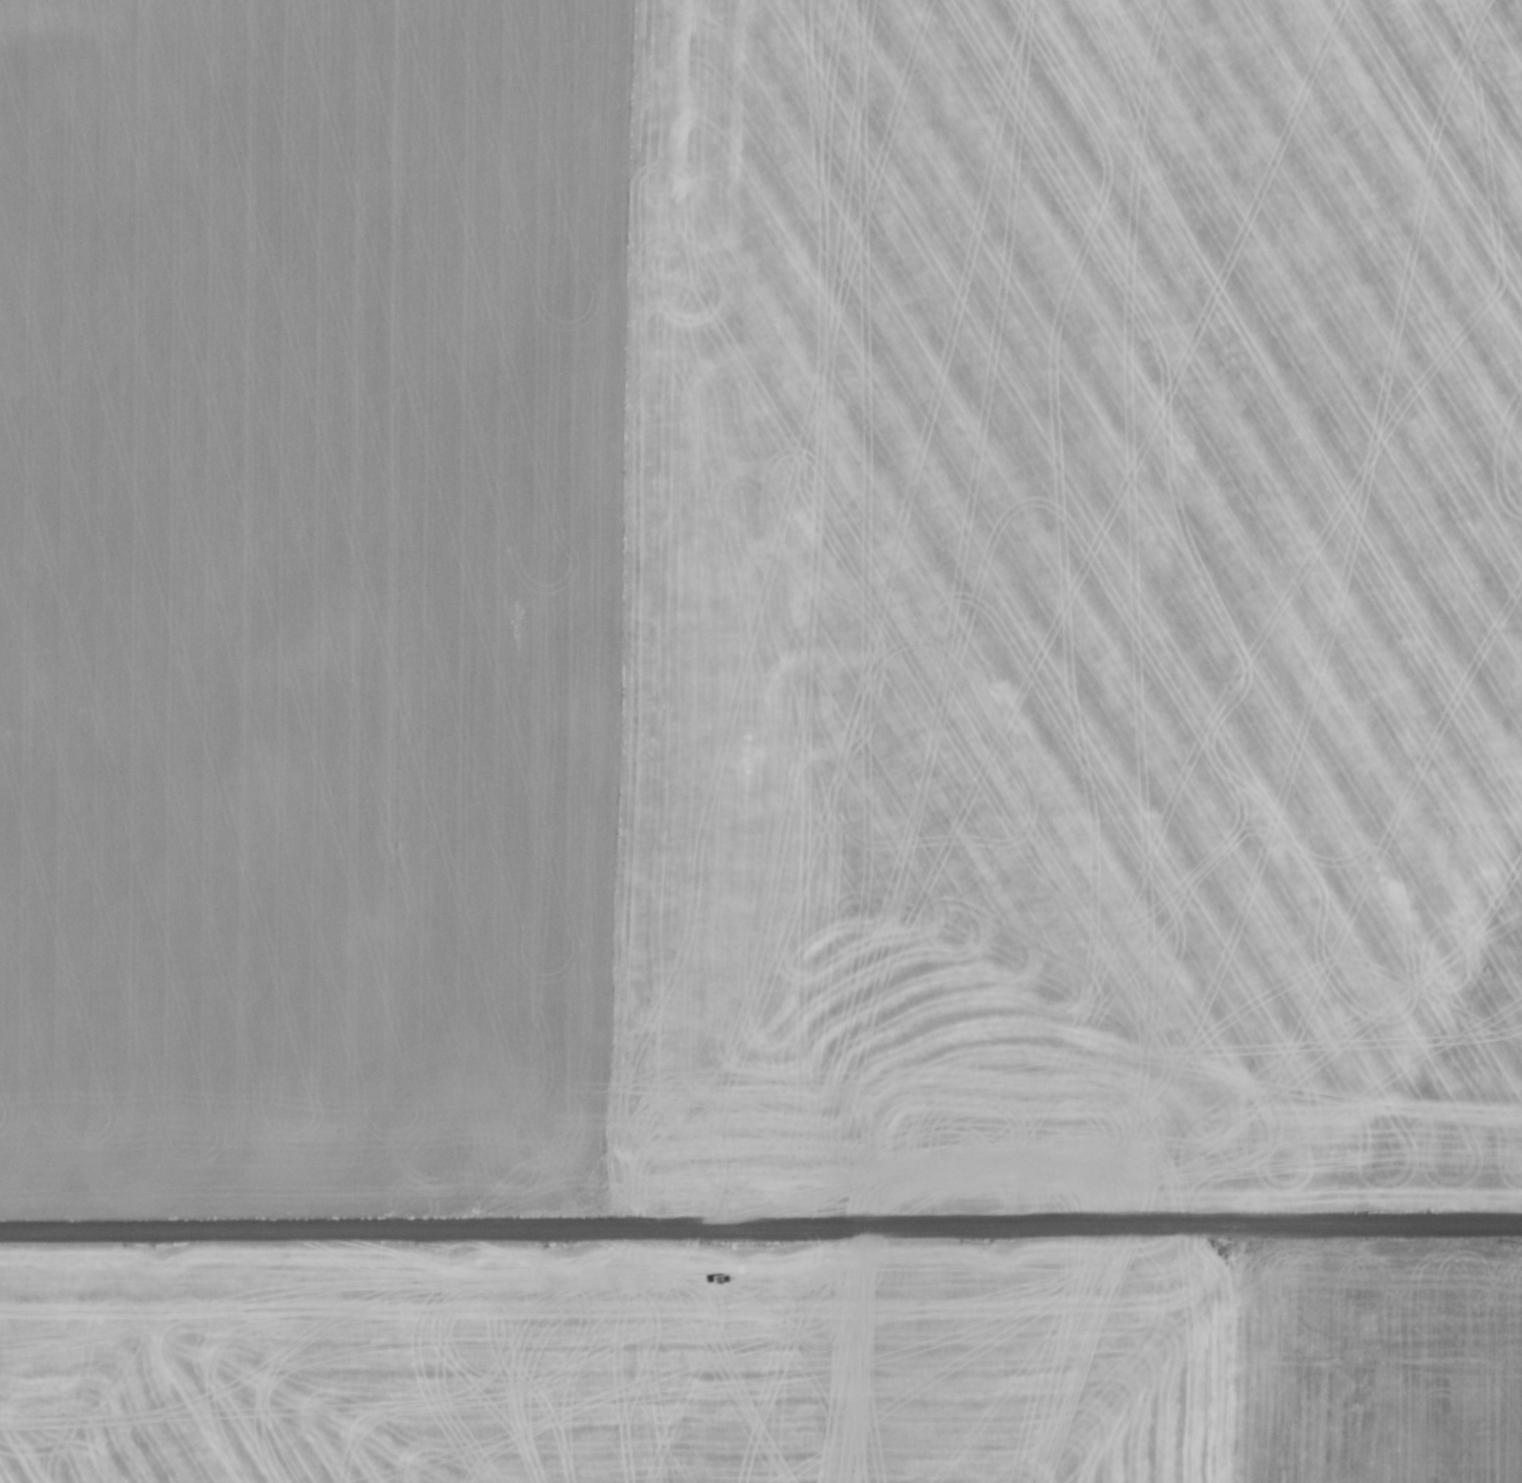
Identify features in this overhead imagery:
road: (761, 1232)

